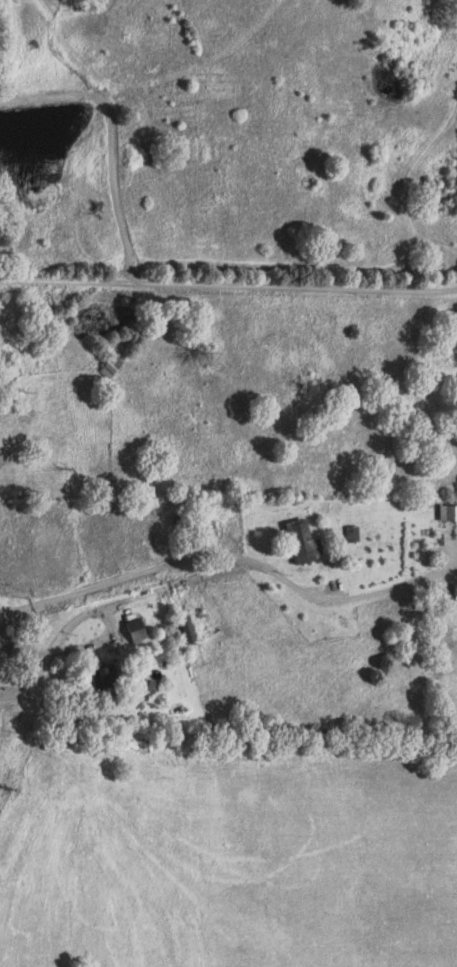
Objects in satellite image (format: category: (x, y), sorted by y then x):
road: (228, 283)
building: (451, 513)
building: (310, 541)
building: (193, 629)

